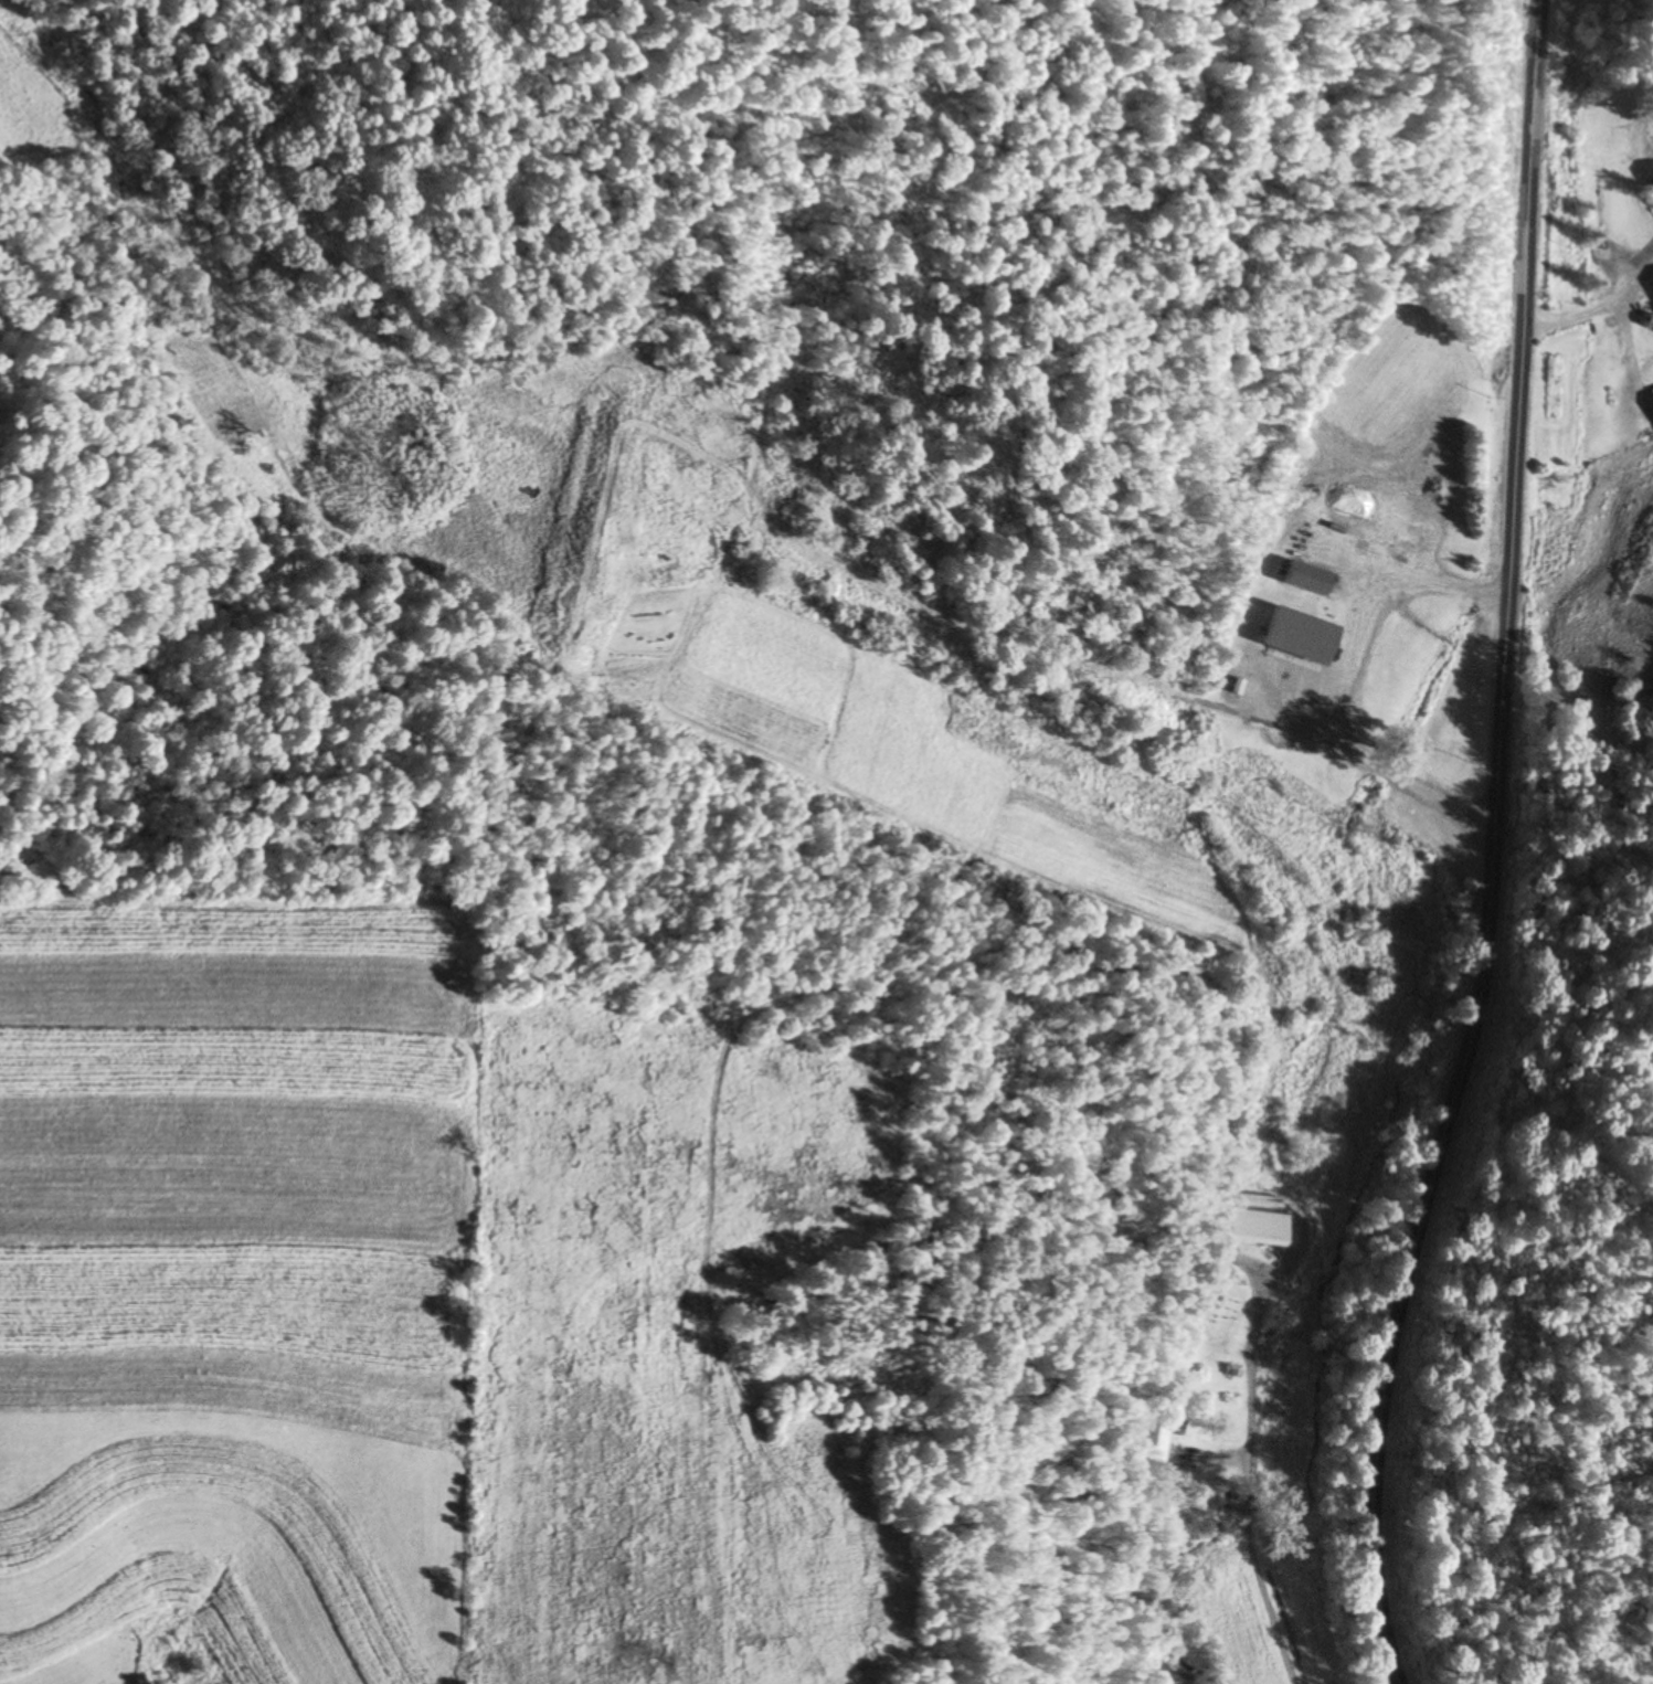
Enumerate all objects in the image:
building: (1617, 144)
building: (1650, 180)
building: (1652, 286)
building: (1650, 405)
building: (1306, 580)
building: (1296, 637)
road: (1488, 848)
building: (1254, 1229)
building: (1229, 1330)
building: (1166, 1420)
building: (1151, 1442)
road: (1243, 1486)

